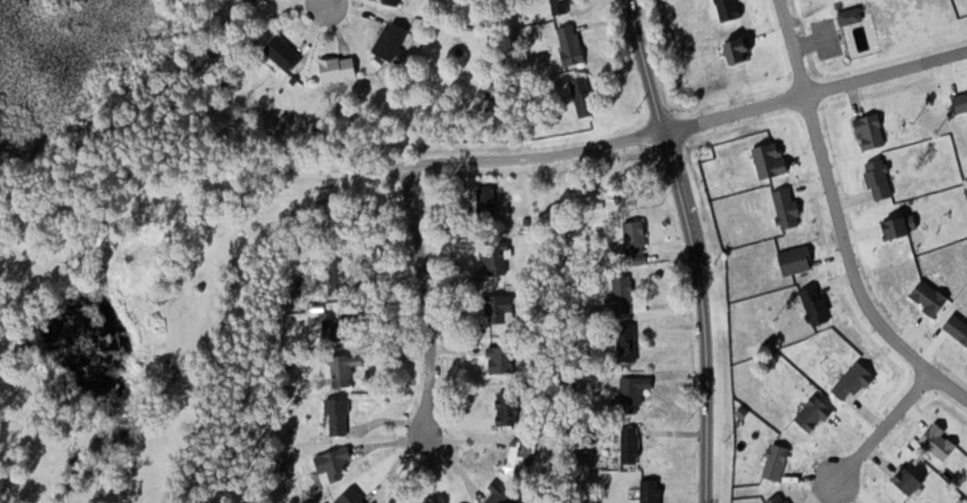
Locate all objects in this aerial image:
road: (326, 1)
building: (393, 2)
building: (561, 6)
building: (393, 40)
road: (814, 41)
building: (572, 43)
building: (285, 53)
building: (339, 68)
road: (816, 90)
building: (585, 95)
road: (333, 175)
building: (488, 202)
road: (839, 219)
building: (637, 234)
road: (693, 247)
building: (497, 257)
building: (340, 276)
building: (626, 295)
road: (426, 299)
building: (501, 308)
building: (340, 328)
building: (628, 342)
building: (503, 359)
building: (346, 369)
building: (636, 389)
building: (509, 407)
building: (340, 416)
road: (883, 425)
building: (632, 445)
building: (522, 456)
building: (334, 464)
building: (652, 491)
building: (503, 494)
building: (354, 497)
building: (396, 500)

